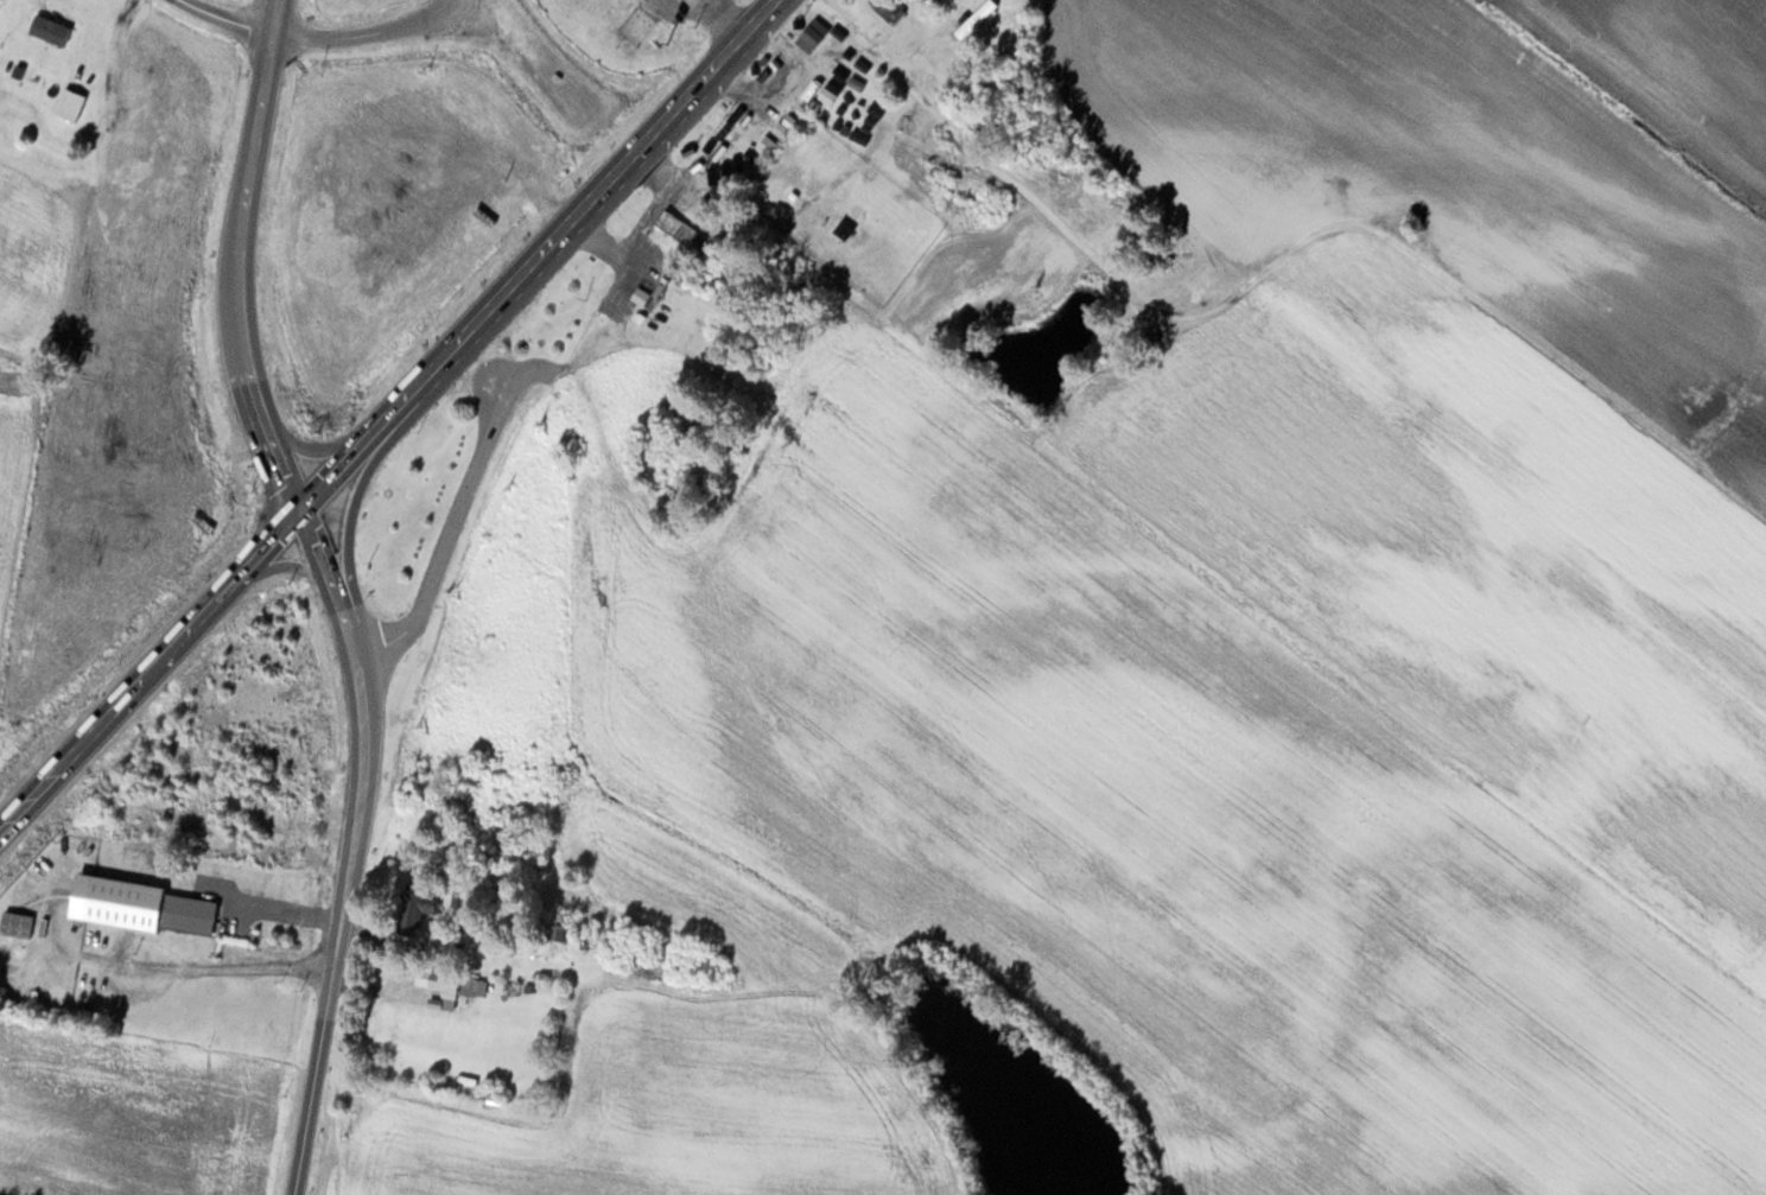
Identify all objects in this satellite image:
road: (707, 2)
building: (888, 8)
road: (719, 9)
building: (974, 18)
building: (47, 28)
road: (319, 37)
road: (239, 256)
road: (539, 256)
road: (318, 447)
traffic signals: (298, 509)
road: (351, 513)
road: (453, 534)
road: (294, 566)
road: (150, 670)
road: (357, 846)
building: (139, 905)
building: (412, 909)
building: (15, 924)
building: (439, 980)

